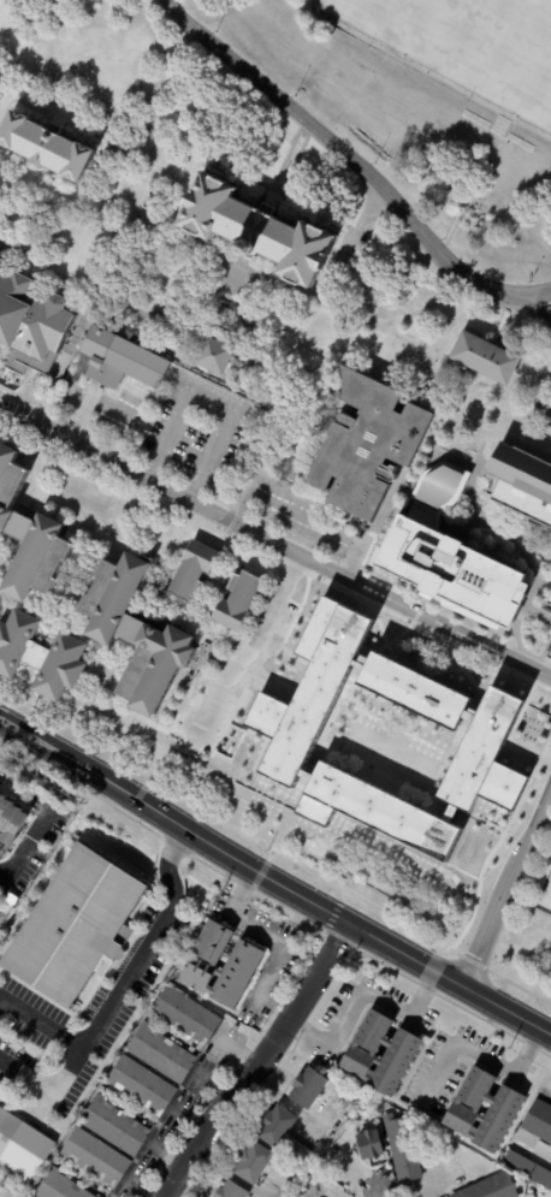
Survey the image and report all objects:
road: (40, 24)
park: (466, 45)
road: (162, 48)
road: (208, 76)
road: (58, 79)
road: (31, 95)
road: (13, 97)
road: (149, 114)
road: (58, 120)
building: (46, 147)
road: (342, 153)
road: (148, 155)
road: (177, 188)
road: (63, 194)
road: (319, 213)
building: (256, 230)
road: (171, 236)
road: (535, 294)
road: (378, 297)
road: (472, 301)
road: (547, 304)
road: (533, 307)
road: (534, 307)
parking lot: (545, 315)
road: (397, 319)
road: (449, 326)
building: (29, 328)
building: (213, 354)
road: (397, 357)
building: (484, 357)
building: (120, 360)
road: (466, 369)
road: (87, 402)
road: (205, 410)
road: (497, 410)
road: (458, 417)
road: (539, 431)
building: (366, 444)
building: (5, 463)
road: (117, 466)
building: (521, 482)
road: (307, 518)
building: (10, 526)
road: (263, 540)
building: (458, 552)
building: (32, 563)
building: (188, 576)
building: (547, 603)
building: (235, 604)
road: (422, 618)
building: (130, 641)
road: (245, 651)
building: (547, 653)
building: (37, 659)
building: (310, 691)
building: (414, 692)
building: (486, 757)
building: (377, 812)
building: (10, 824)
road: (36, 834)
road: (274, 878)
road: (504, 881)
park: (544, 895)
building: (73, 924)
road: (272, 937)
building: (244, 960)
road: (124, 983)
building: (185, 1014)
road: (409, 1014)
road: (277, 1019)
road: (334, 1039)
building: (399, 1051)
road: (476, 1053)
building: (159, 1054)
road: (256, 1061)
building: (140, 1084)
road: (46, 1088)
building: (307, 1088)
building: (503, 1109)
building: (539, 1121)
building: (275, 1126)
building: (114, 1127)
building: (368, 1145)
building: (550, 1145)
building: (402, 1149)
building: (20, 1150)
building: (297, 1150)
building: (95, 1157)
building: (253, 1162)
building: (527, 1169)
building: (58, 1186)
building: (490, 1187)
building: (230, 1190)
road: (271, 1193)

